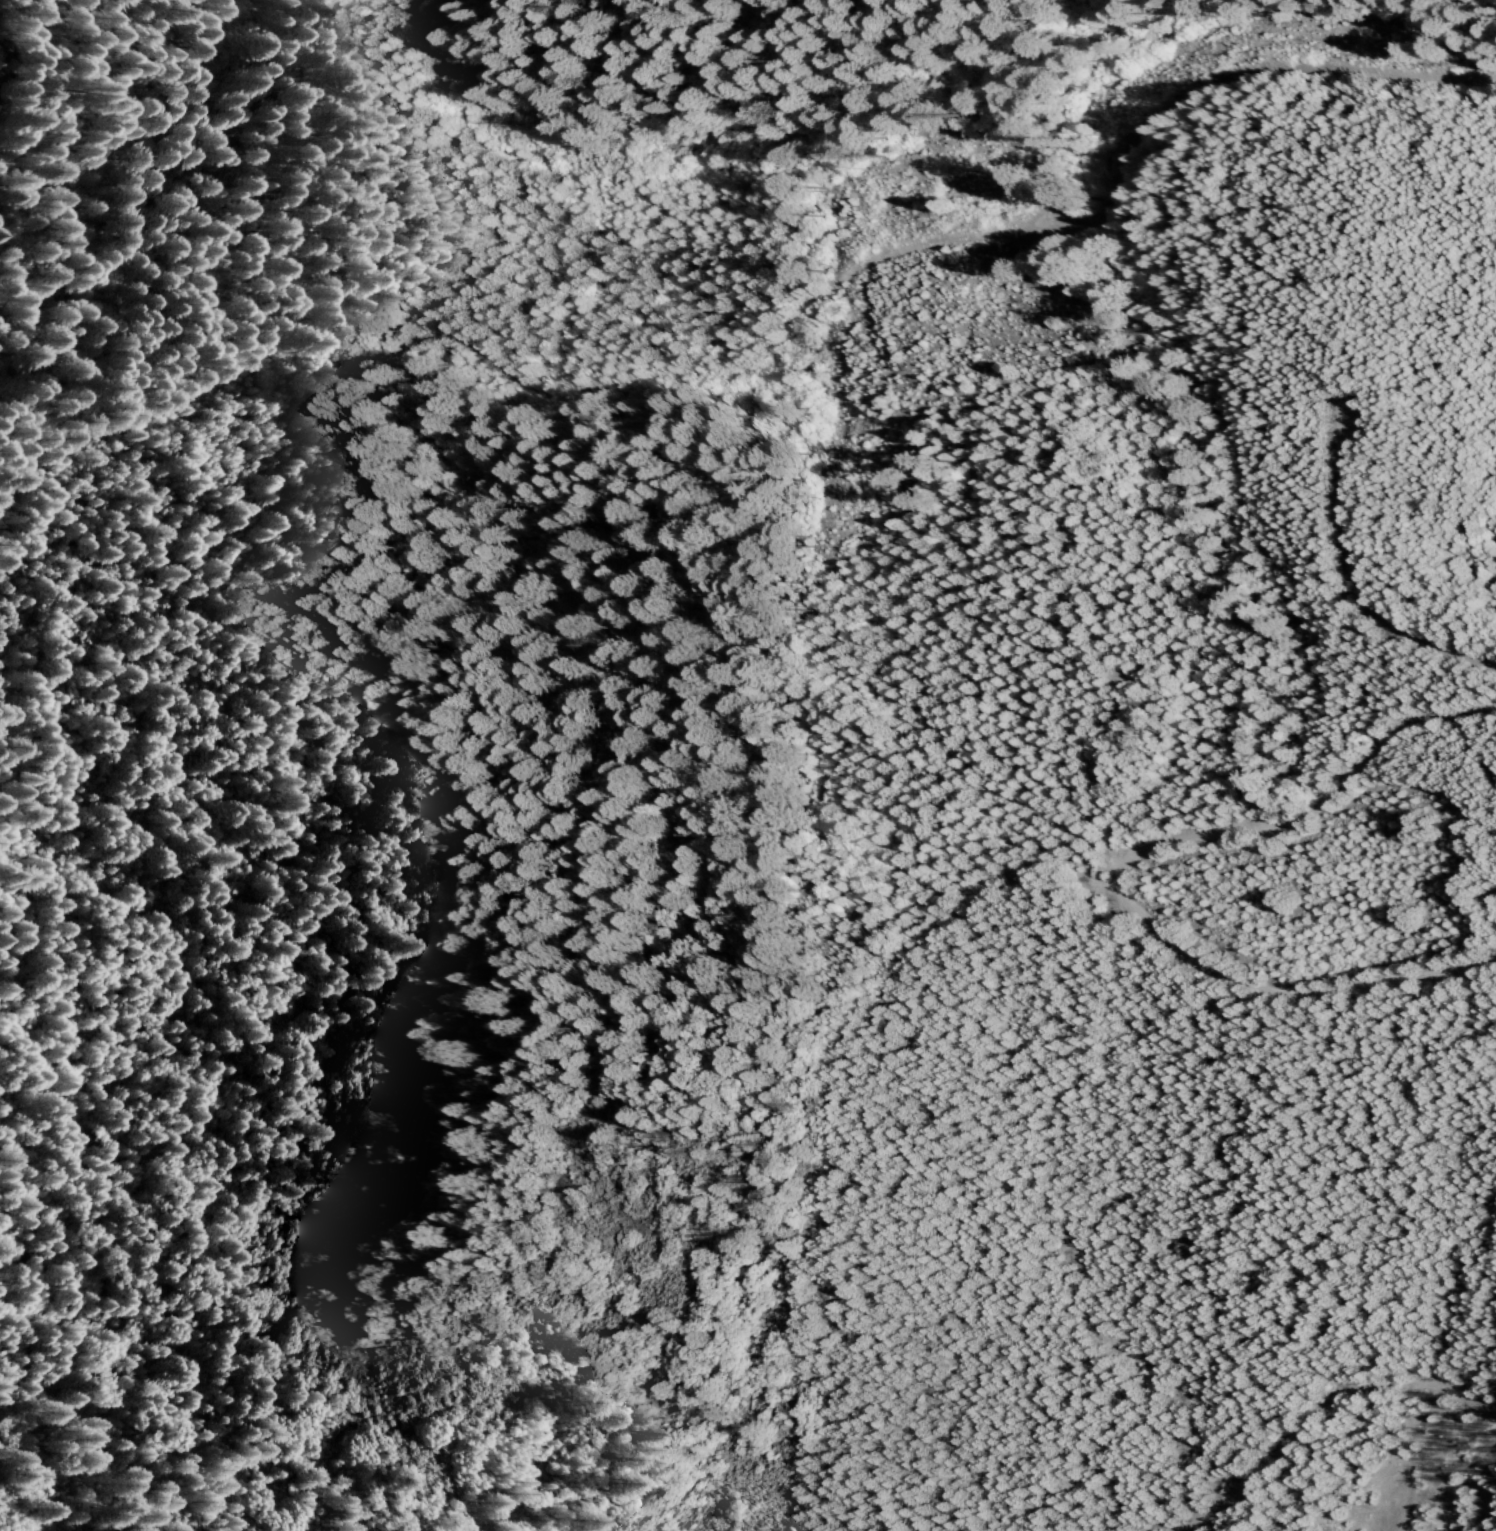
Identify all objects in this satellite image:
road: (765, 348)
road: (30, 843)
road: (1104, 864)

